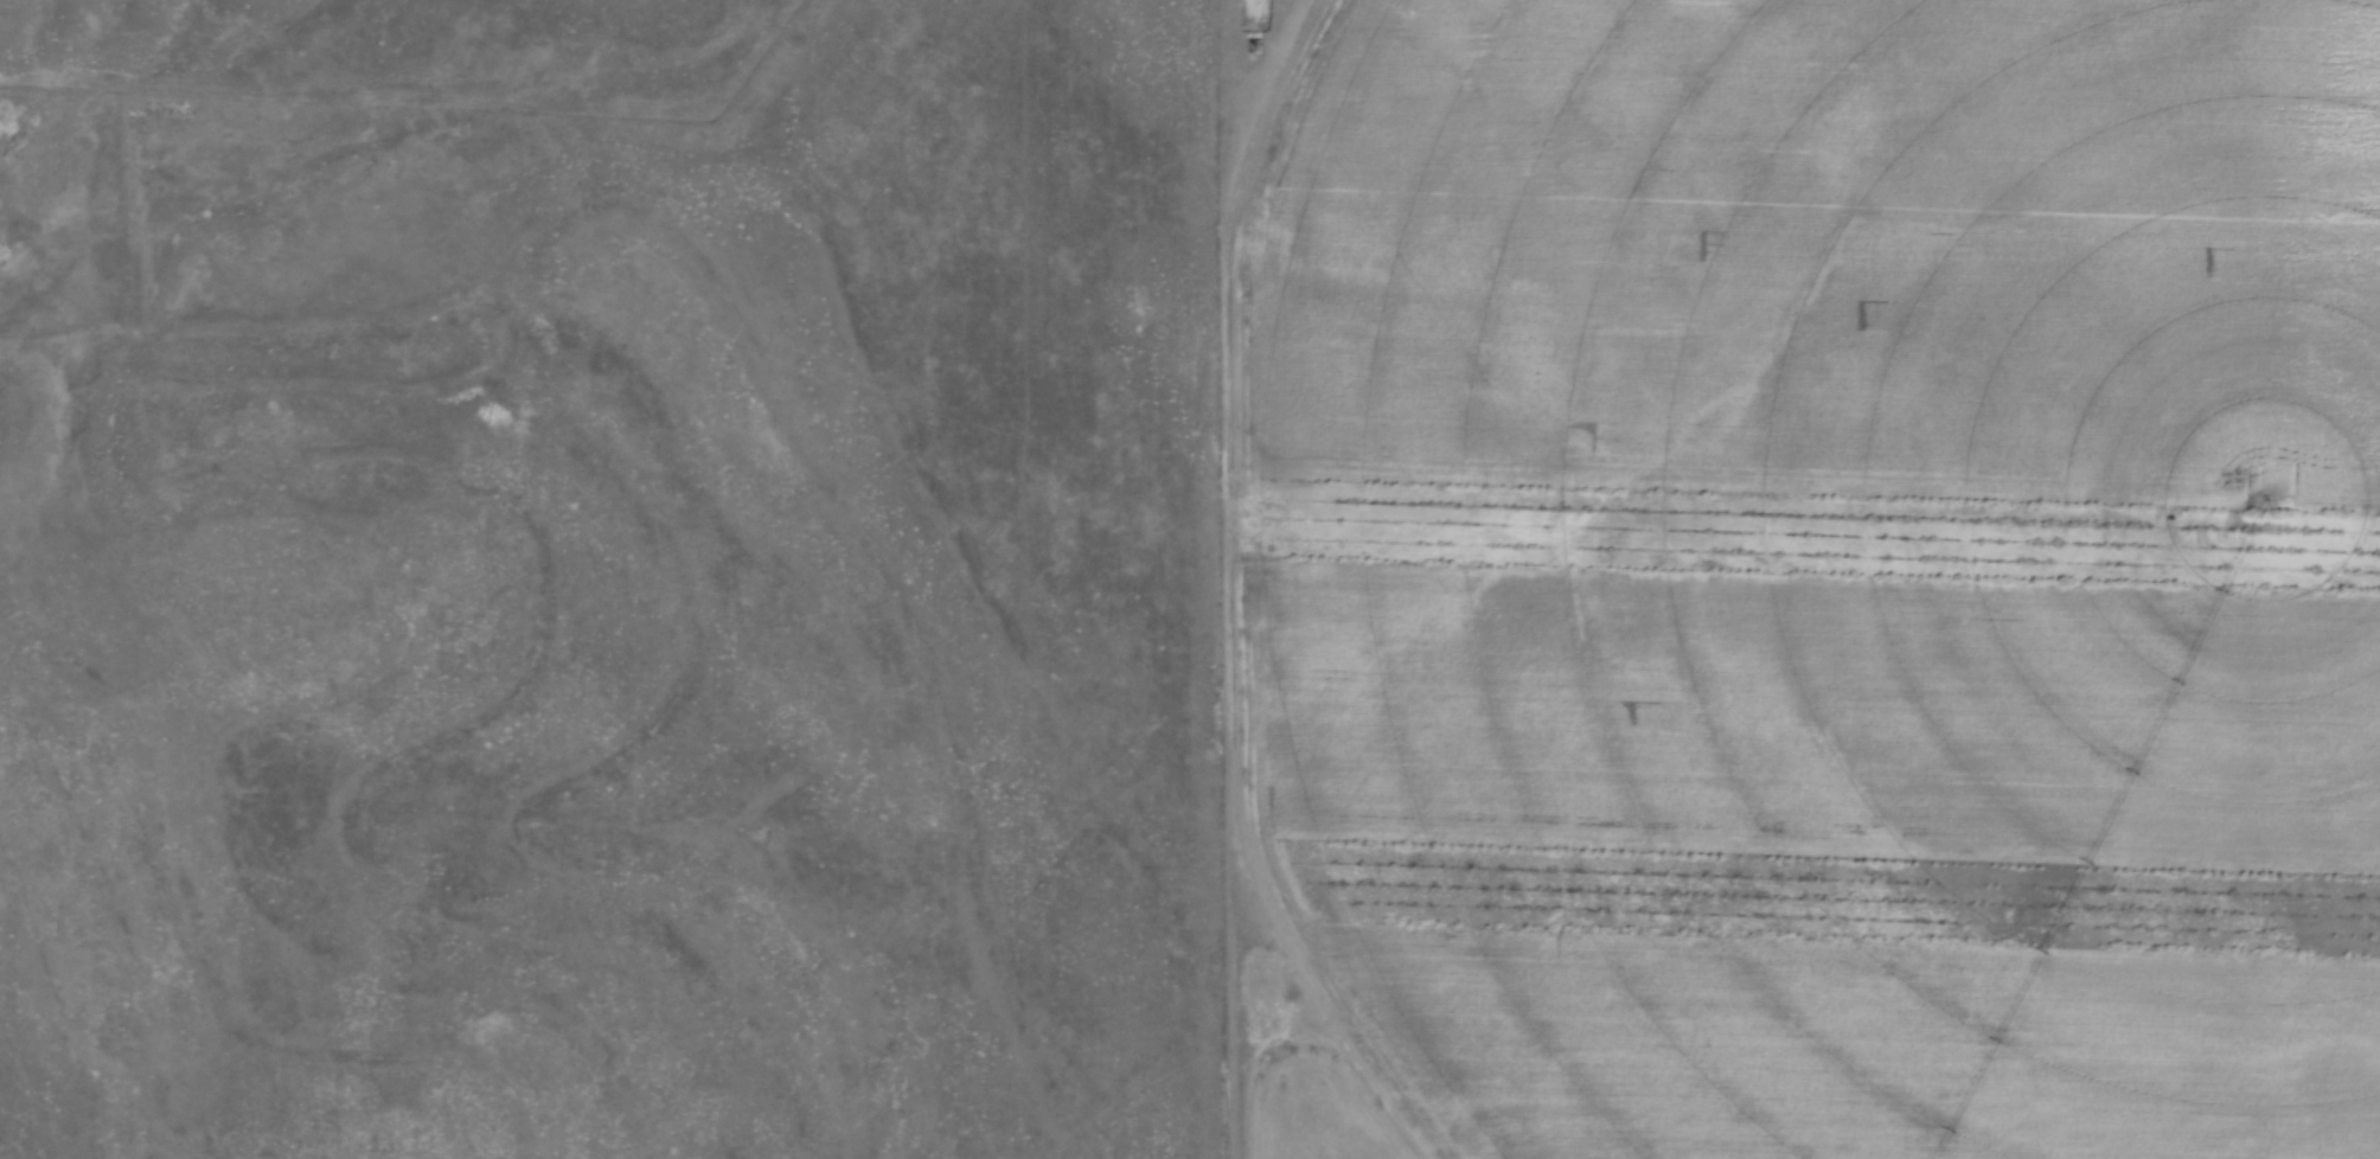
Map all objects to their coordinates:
crop: (1823, 245)
crop: (1821, 867)

